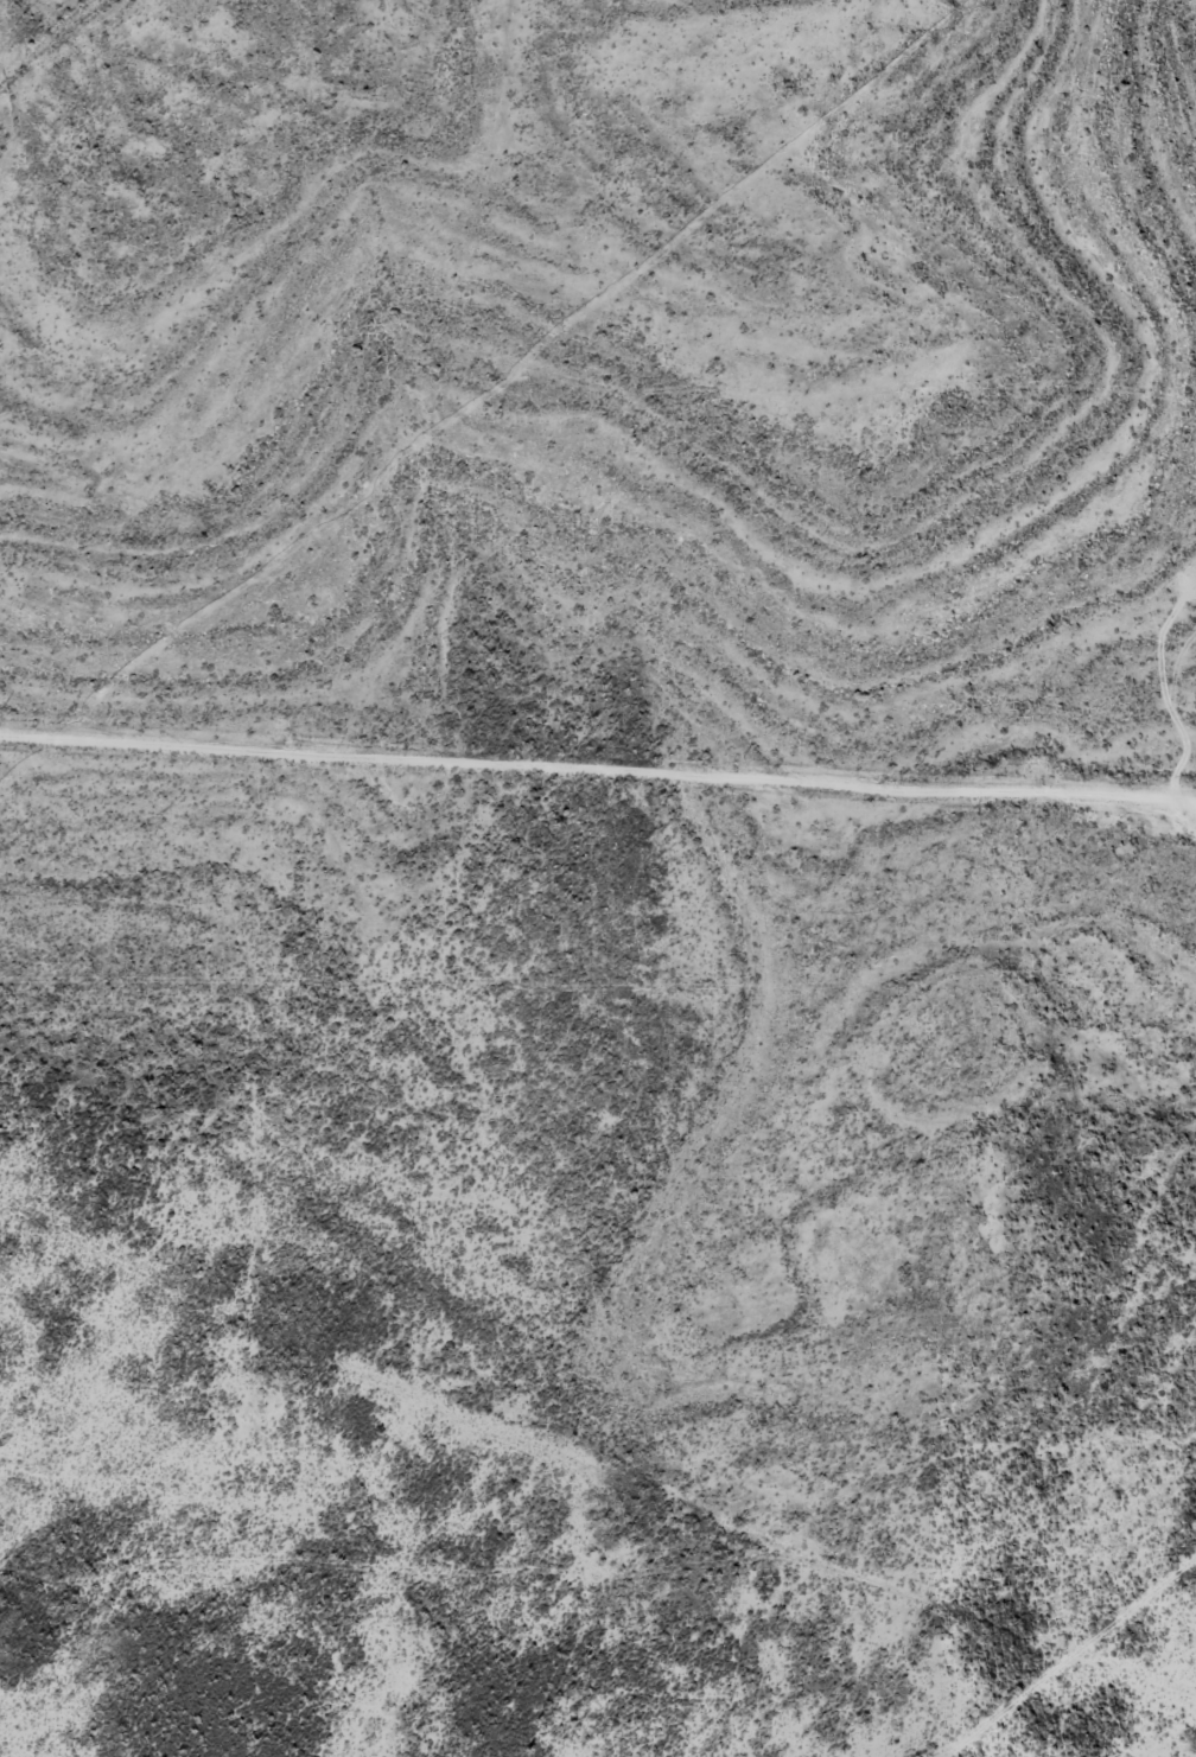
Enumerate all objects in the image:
road: (1095, 1673)

